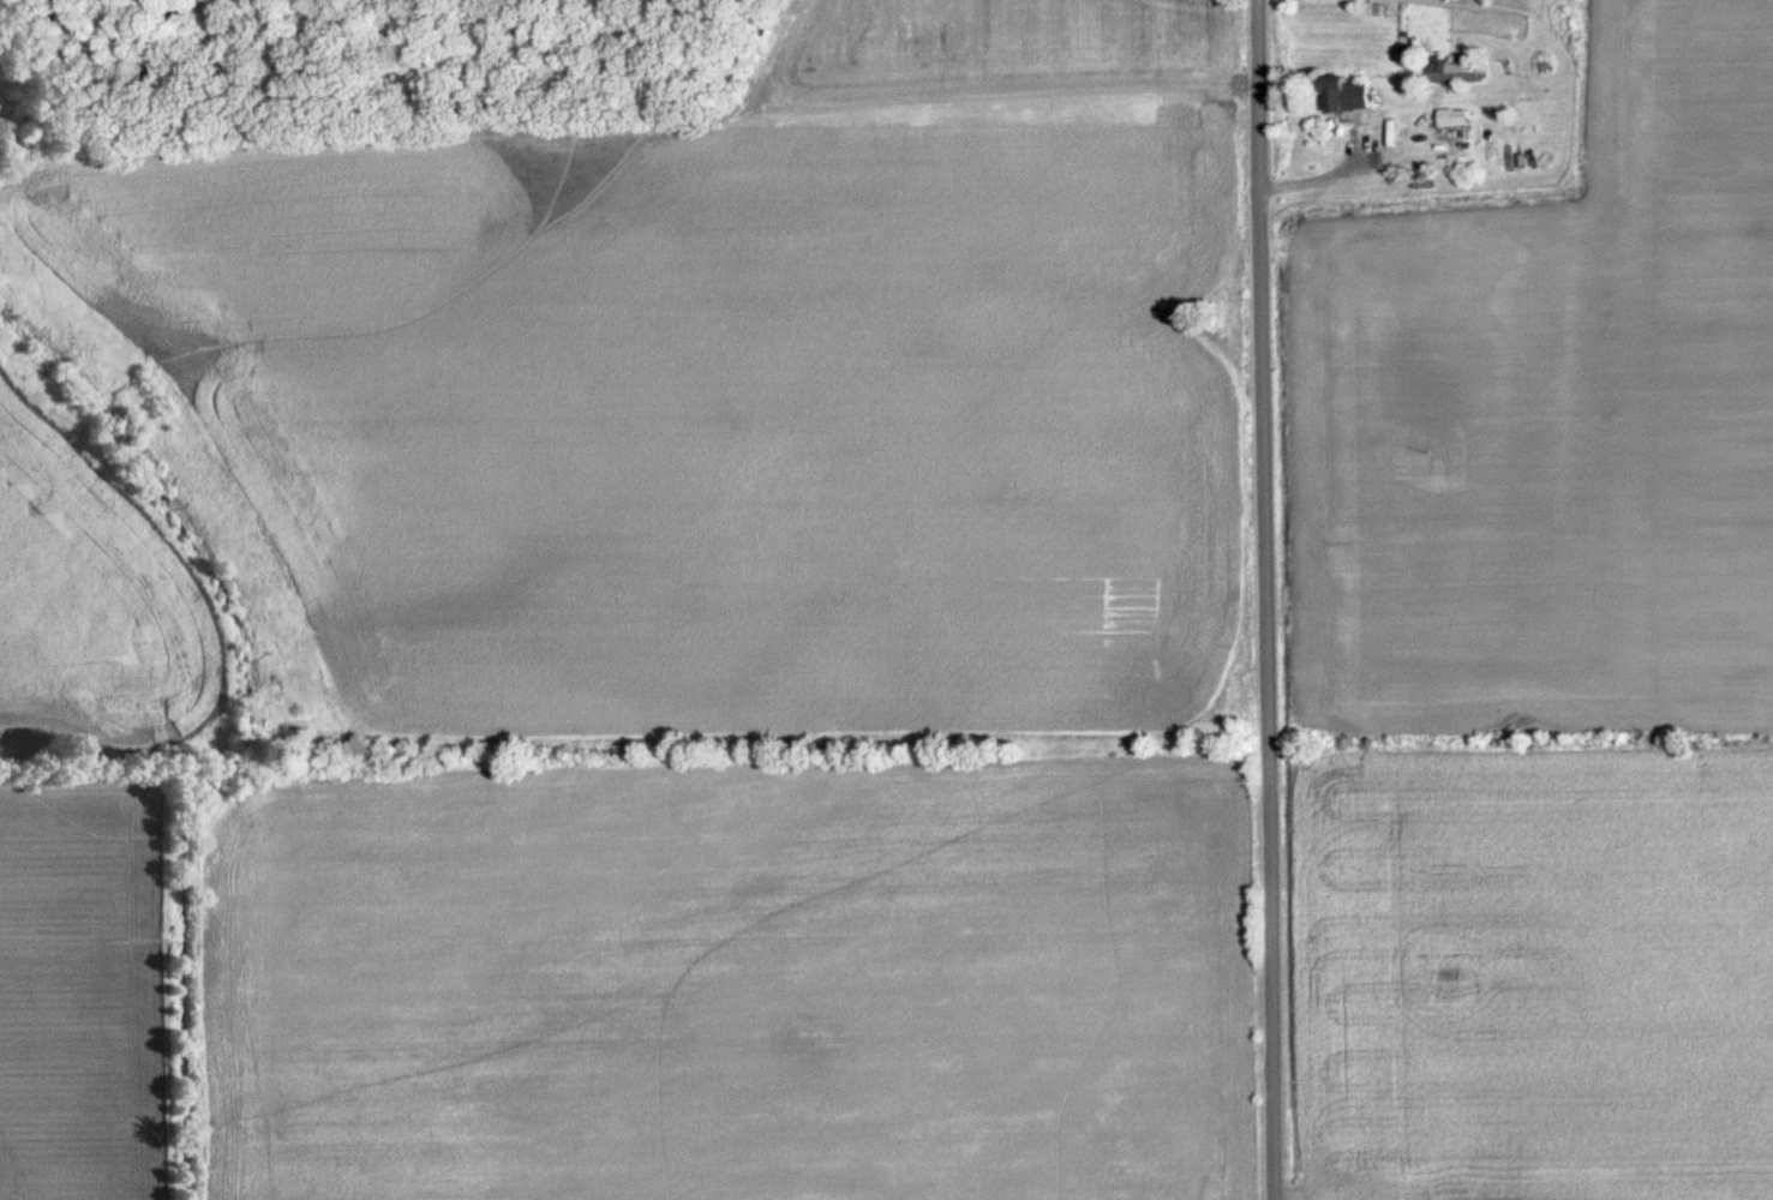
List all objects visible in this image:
building: (1350, 95)
building: (1450, 118)
road: (1326, 168)
road: (1268, 599)

